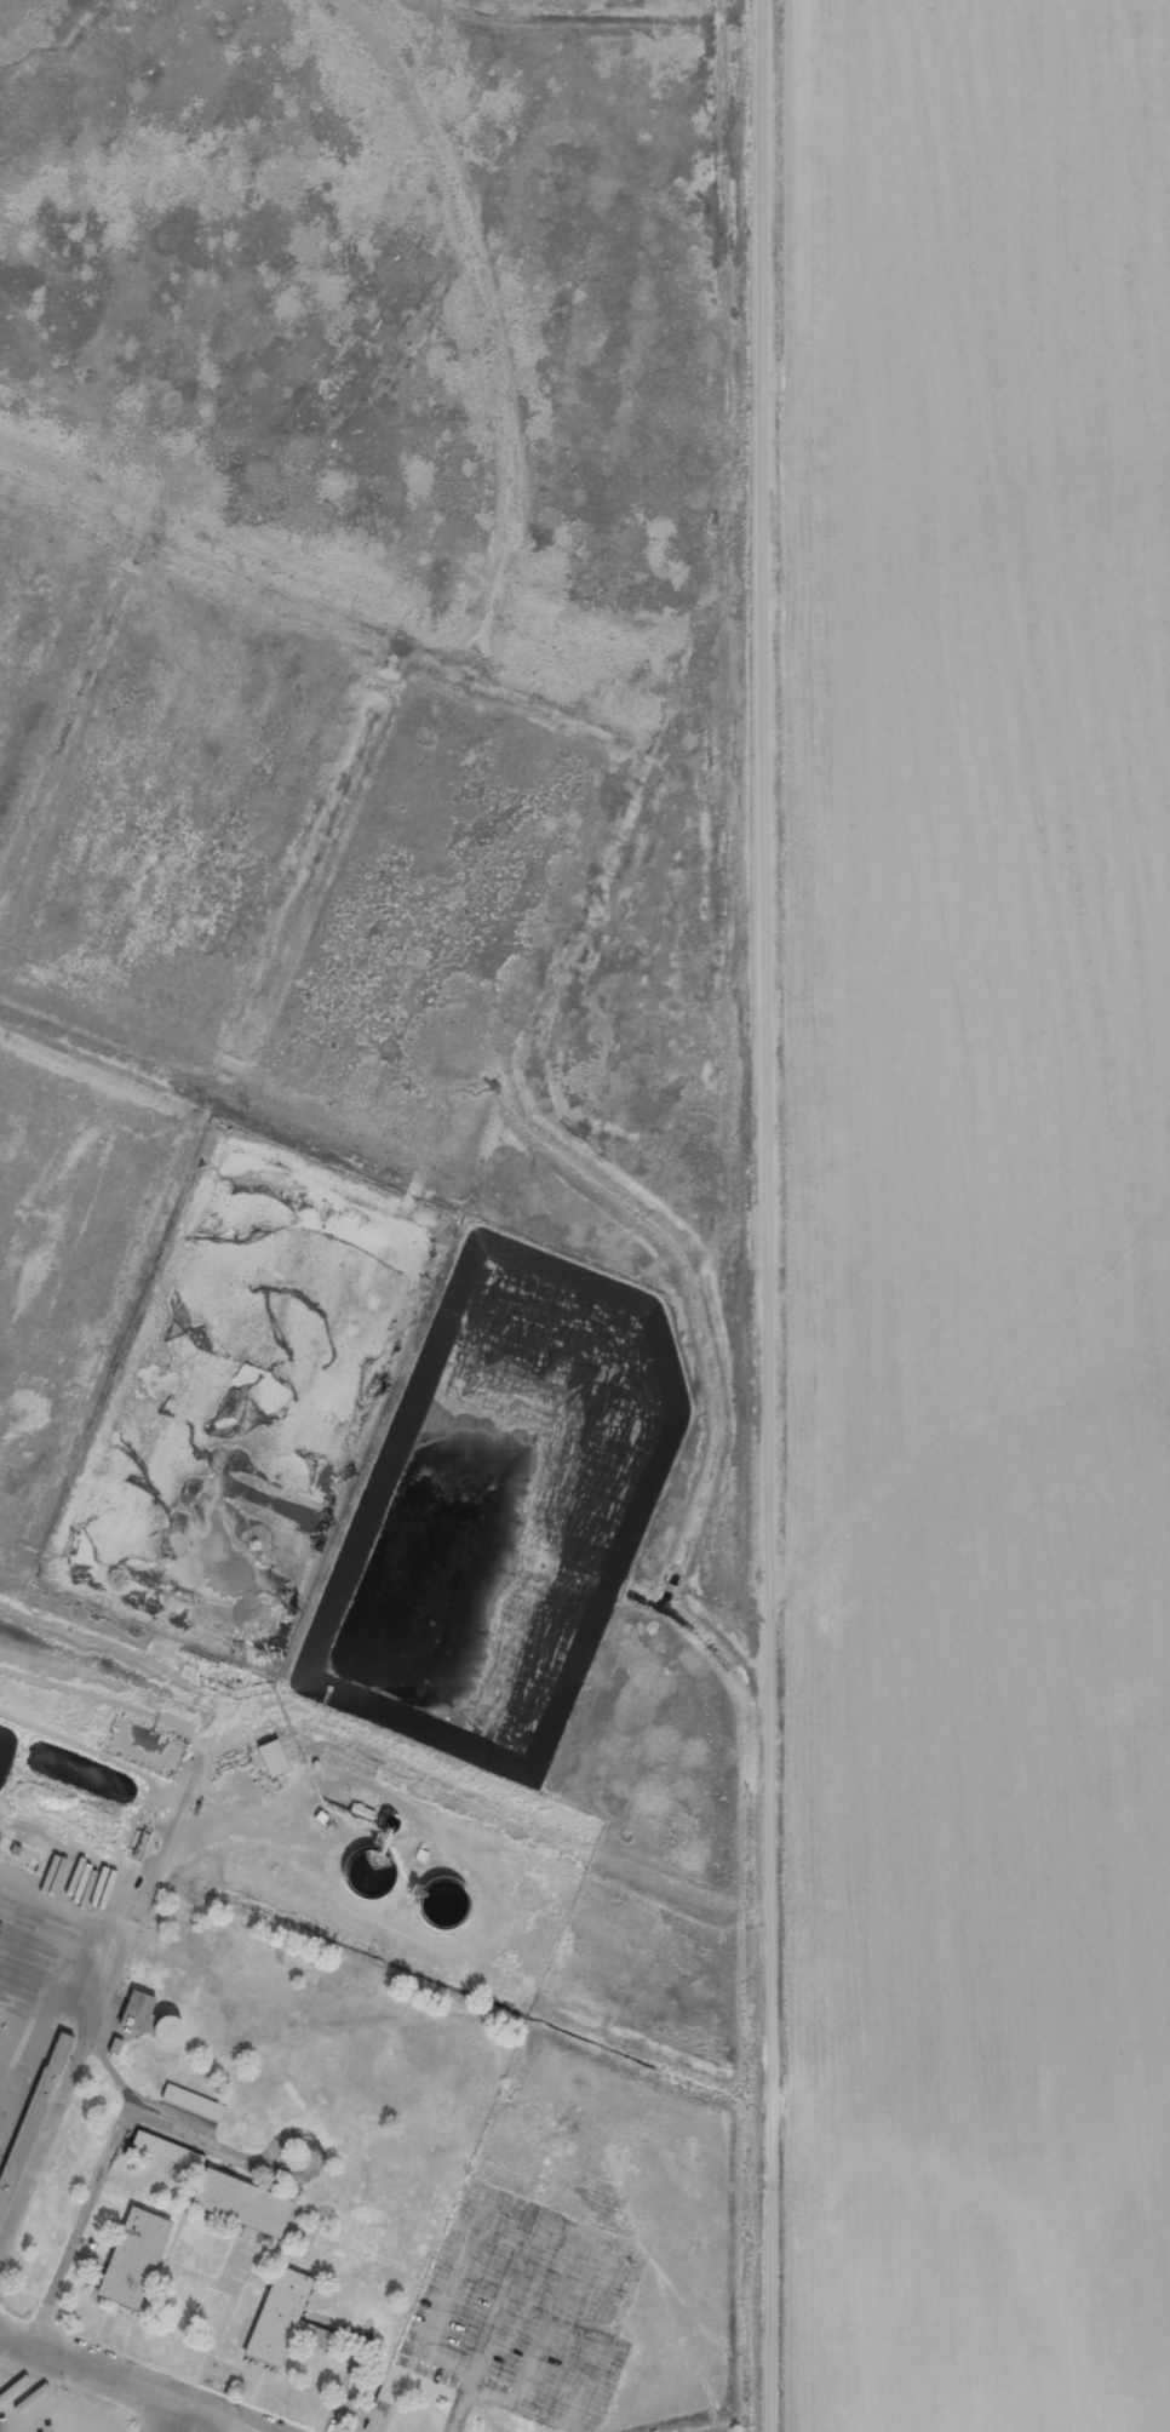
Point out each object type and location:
road: (736, 1215)
building: (274, 1756)
building: (151, 2018)
building: (166, 2148)
building: (243, 2202)
building: (134, 2256)
building: (285, 2317)
road: (116, 2386)

